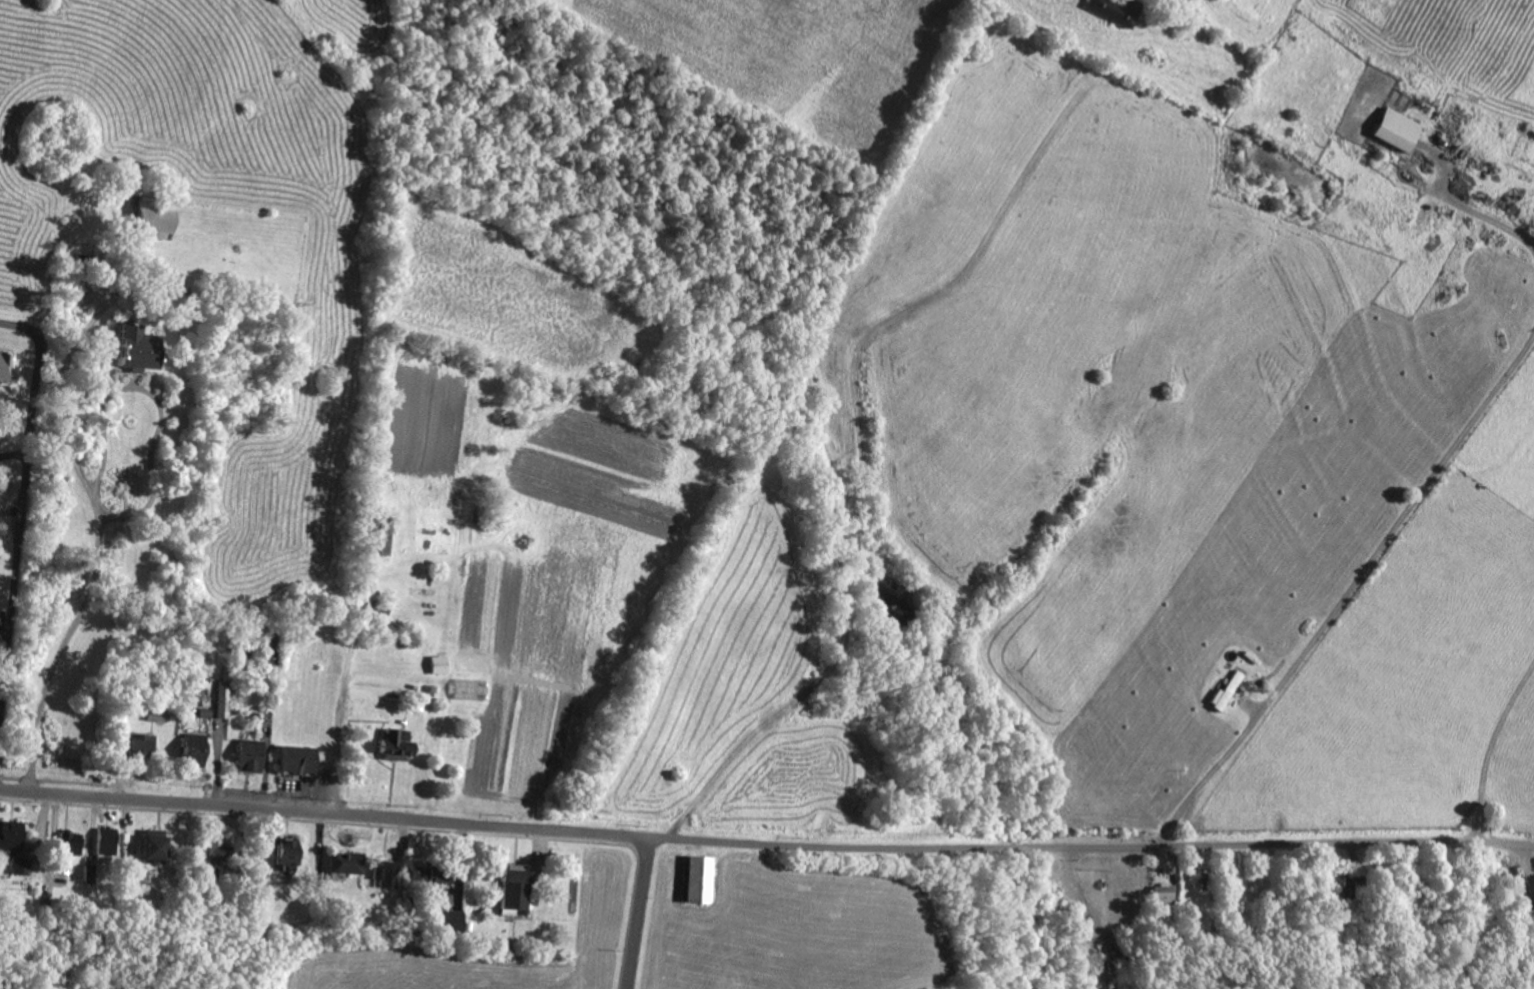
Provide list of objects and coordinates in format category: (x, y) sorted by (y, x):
building: (1112, 9)
building: (1391, 128)
road: (1495, 220)
road: (20, 329)
building: (129, 348)
building: (5, 368)
road: (96, 490)
road: (22, 514)
building: (370, 533)
road: (1344, 591)
road: (267, 632)
building: (435, 662)
building: (468, 687)
building: (1223, 689)
road: (2, 694)
building: (220, 697)
road: (341, 702)
road: (2, 711)
building: (133, 744)
building: (391, 744)
building: (190, 752)
building: (247, 753)
building: (294, 758)
road: (233, 809)
road: (558, 832)
building: (9, 833)
building: (105, 839)
building: (68, 844)
building: (145, 845)
road: (1092, 849)
building: (204, 855)
building: (342, 861)
building: (383, 872)
building: (430, 877)
building: (690, 877)
building: (512, 886)
building: (1161, 893)
road: (639, 914)
building: (446, 918)

